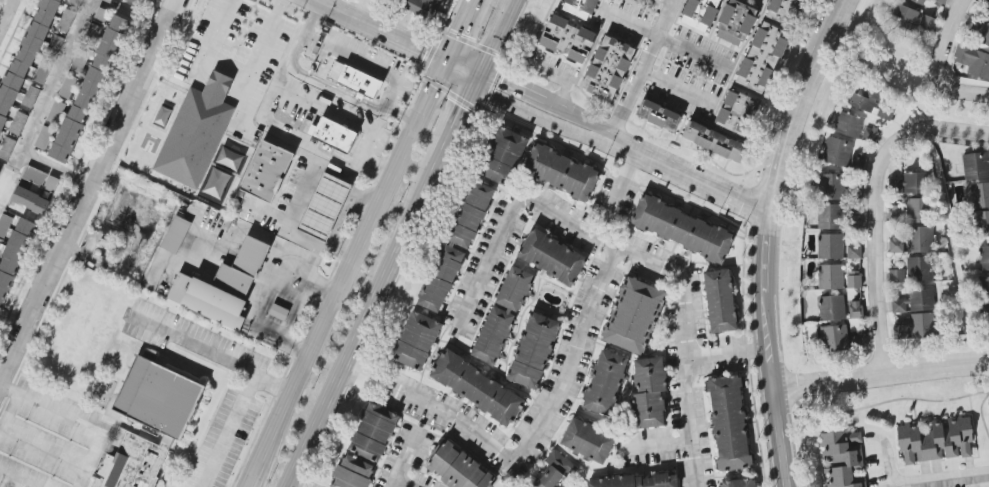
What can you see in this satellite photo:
road: (670, 1)
building: (987, 1)
building: (136, 2)
building: (919, 2)
building: (938, 2)
building: (423, 7)
building: (581, 8)
building: (786, 11)
road: (5, 12)
road: (138, 14)
building: (701, 14)
building: (904, 18)
building: (736, 22)
building: (926, 24)
building: (977, 29)
road: (396, 38)
road: (497, 38)
building: (568, 39)
road: (667, 42)
building: (54, 47)
building: (762, 58)
road: (363, 61)
traffic signals: (446, 61)
building: (973, 61)
road: (941, 62)
road: (236, 64)
building: (608, 68)
road: (643, 69)
road: (284, 72)
road: (56, 76)
traffic signals: (480, 77)
road: (563, 80)
road: (322, 83)
building: (354, 84)
building: (90, 89)
road: (676, 90)
road: (273, 92)
building: (31, 97)
building: (870, 102)
building: (737, 112)
building: (659, 115)
road: (457, 124)
building: (849, 125)
building: (195, 131)
road: (969, 132)
building: (333, 134)
building: (870, 134)
building: (714, 141)
road: (624, 145)
building: (7, 149)
building: (837, 151)
building: (503, 156)
road: (34, 158)
road: (377, 163)
building: (857, 163)
building: (976, 165)
building: (266, 171)
building: (561, 172)
building: (40, 178)
building: (834, 186)
road: (90, 193)
road: (297, 195)
building: (914, 195)
building: (980, 195)
building: (31, 200)
building: (319, 204)
building: (896, 213)
building: (829, 216)
building: (982, 224)
road: (874, 226)
building: (682, 229)
building: (176, 235)
road: (767, 237)
building: (920, 239)
road: (360, 243)
building: (895, 244)
building: (831, 246)
building: (456, 247)
building: (854, 251)
road: (621, 253)
building: (552, 257)
building: (984, 258)
building: (919, 269)
building: (896, 276)
building: (831, 277)
building: (854, 279)
building: (223, 284)
building: (985, 289)
building: (922, 300)
building: (720, 301)
building: (900, 306)
building: (832, 308)
building: (856, 309)
building: (502, 316)
building: (634, 316)
building: (986, 321)
building: (916, 327)
road: (362, 329)
building: (835, 339)
building: (417, 341)
building: (534, 351)
road: (725, 354)
road: (880, 375)
road: (249, 378)
building: (605, 383)
road: (270, 387)
building: (477, 388)
road: (545, 391)
building: (649, 393)
road: (37, 401)
building: (146, 420)
building: (729, 423)
building: (373, 433)
parking lot: (225, 437)
building: (588, 441)
building: (936, 441)
parking lot: (48, 442)
road: (656, 446)
road: (44, 453)
road: (407, 454)
road: (88, 458)
building: (844, 458)
road: (887, 464)
building: (458, 467)
building: (553, 471)
building: (353, 473)
road: (940, 479)
building: (638, 481)
road: (399, 482)
building: (739, 483)
road: (5, 484)

